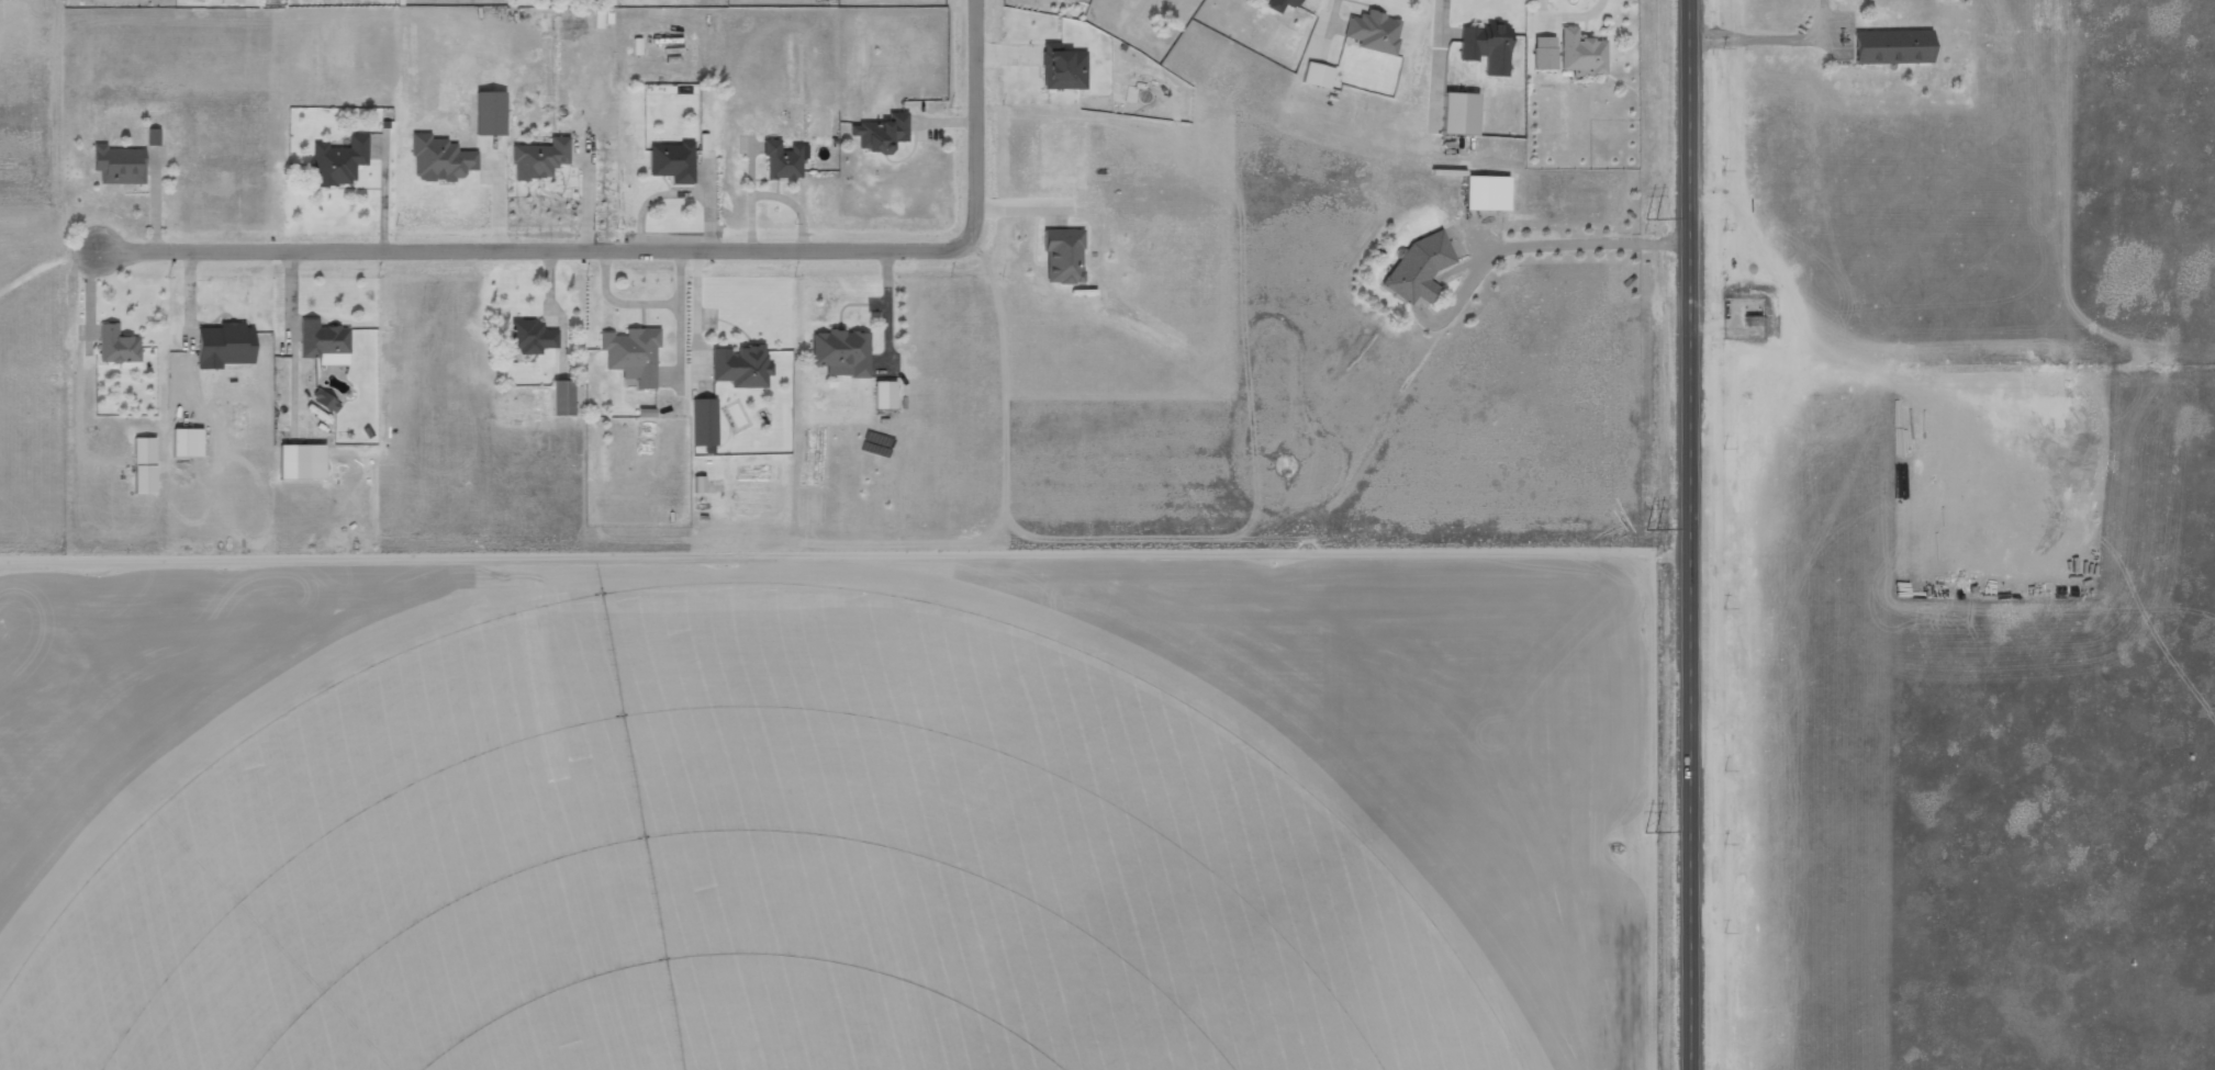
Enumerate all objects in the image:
building: (1283, 4)
building: (1376, 32)
building: (1895, 46)
building: (1489, 47)
building: (1546, 54)
building: (1584, 54)
building: (1060, 69)
building: (1320, 75)
building: (1463, 114)
building: (877, 134)
building: (153, 137)
building: (535, 158)
building: (669, 160)
building: (778, 160)
building: (119, 166)
building: (334, 166)
building: (1490, 193)
power tower: (1649, 226)
road: (360, 249)
road: (932, 250)
building: (1060, 256)
building: (1422, 268)
building: (530, 336)
building: (323, 342)
building: (226, 347)
building: (119, 348)
building: (629, 353)
building: (737, 365)
building: (879, 396)
building: (189, 443)
building: (299, 463)
building: (146, 468)
power tower: (1652, 533)
road: (1690, 534)
power tower: (1652, 843)
crop: (747, 864)

